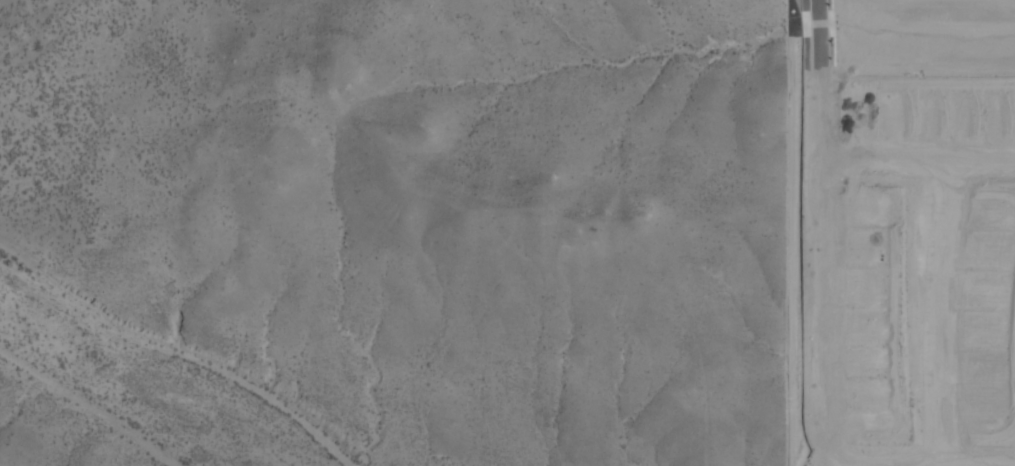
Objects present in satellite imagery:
road: (923, 159)
road: (836, 227)
road: (957, 313)
road: (929, 464)

